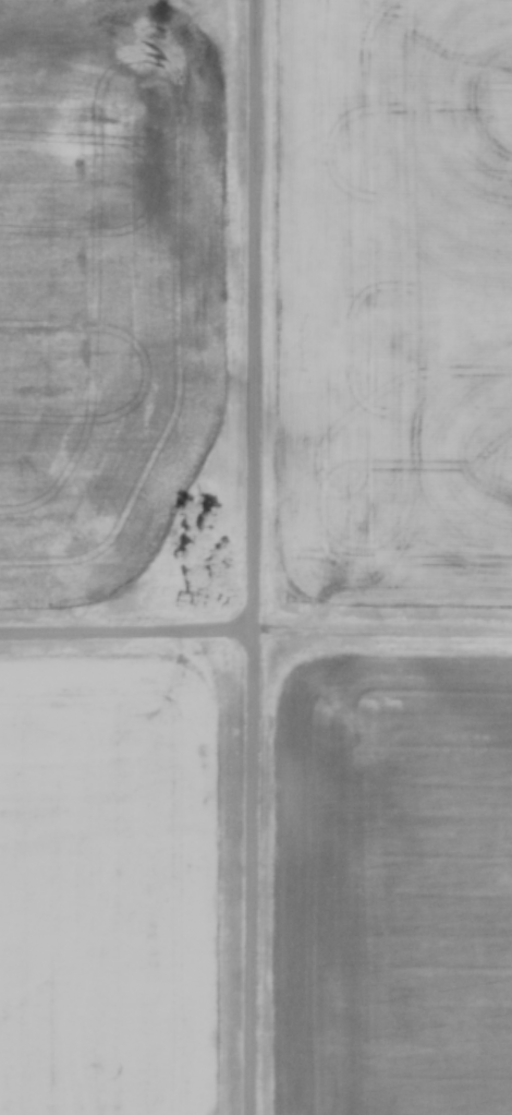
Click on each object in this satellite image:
road: (253, 557)
road: (126, 626)
road: (381, 626)

